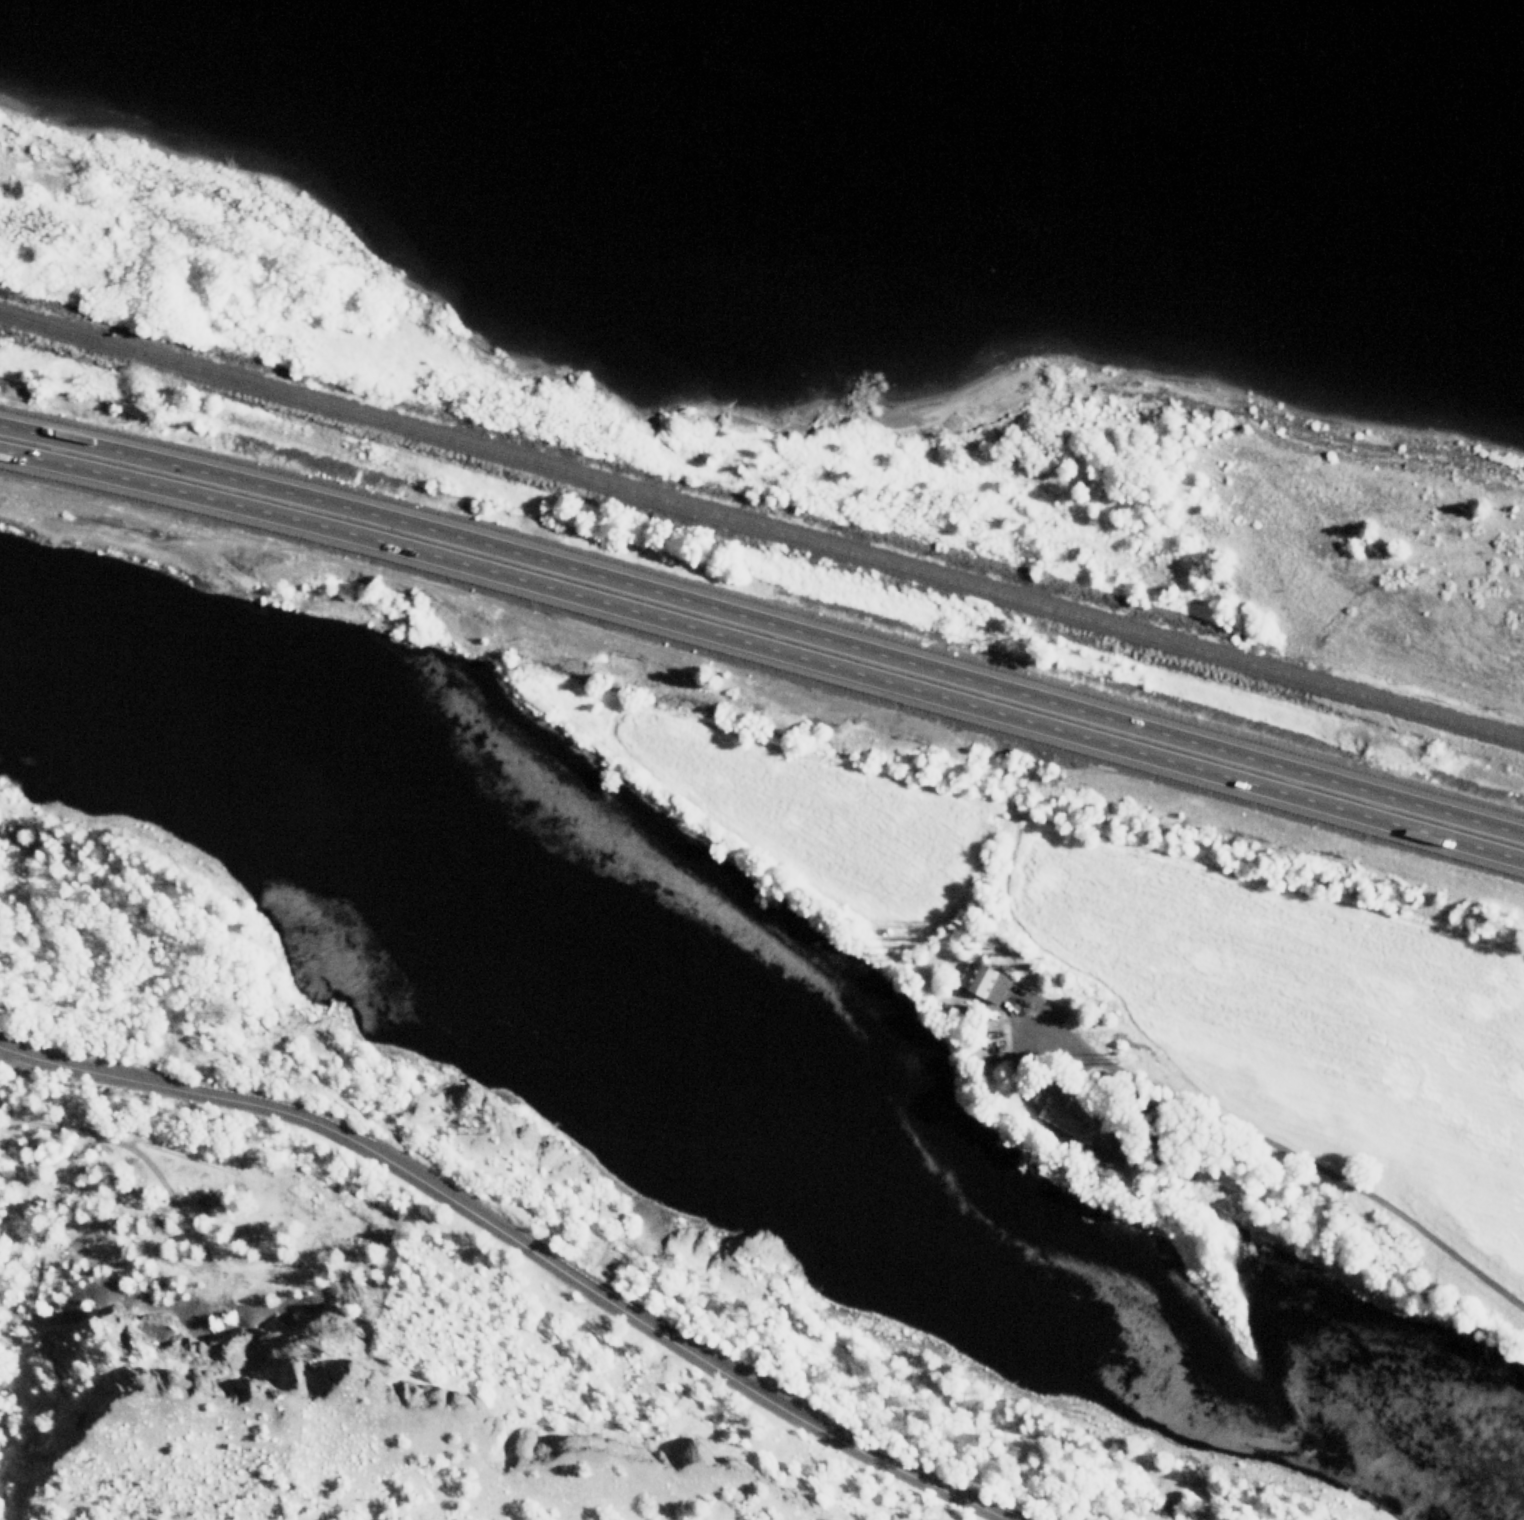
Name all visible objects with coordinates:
railway: (762, 526)
road: (763, 622)
road: (764, 647)
building: (985, 985)
building: (1061, 1112)
road: (1318, 1166)
road: (520, 1243)

